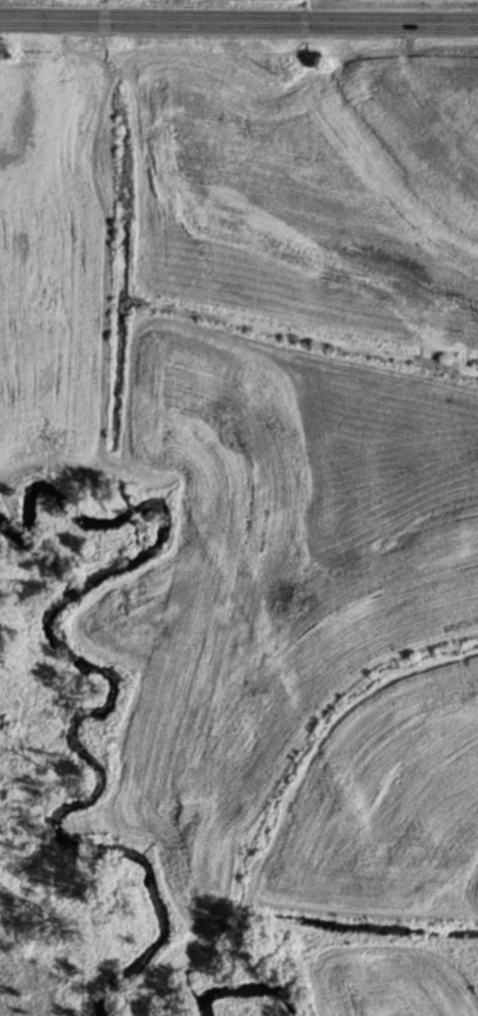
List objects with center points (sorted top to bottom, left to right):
road: (238, 22)

